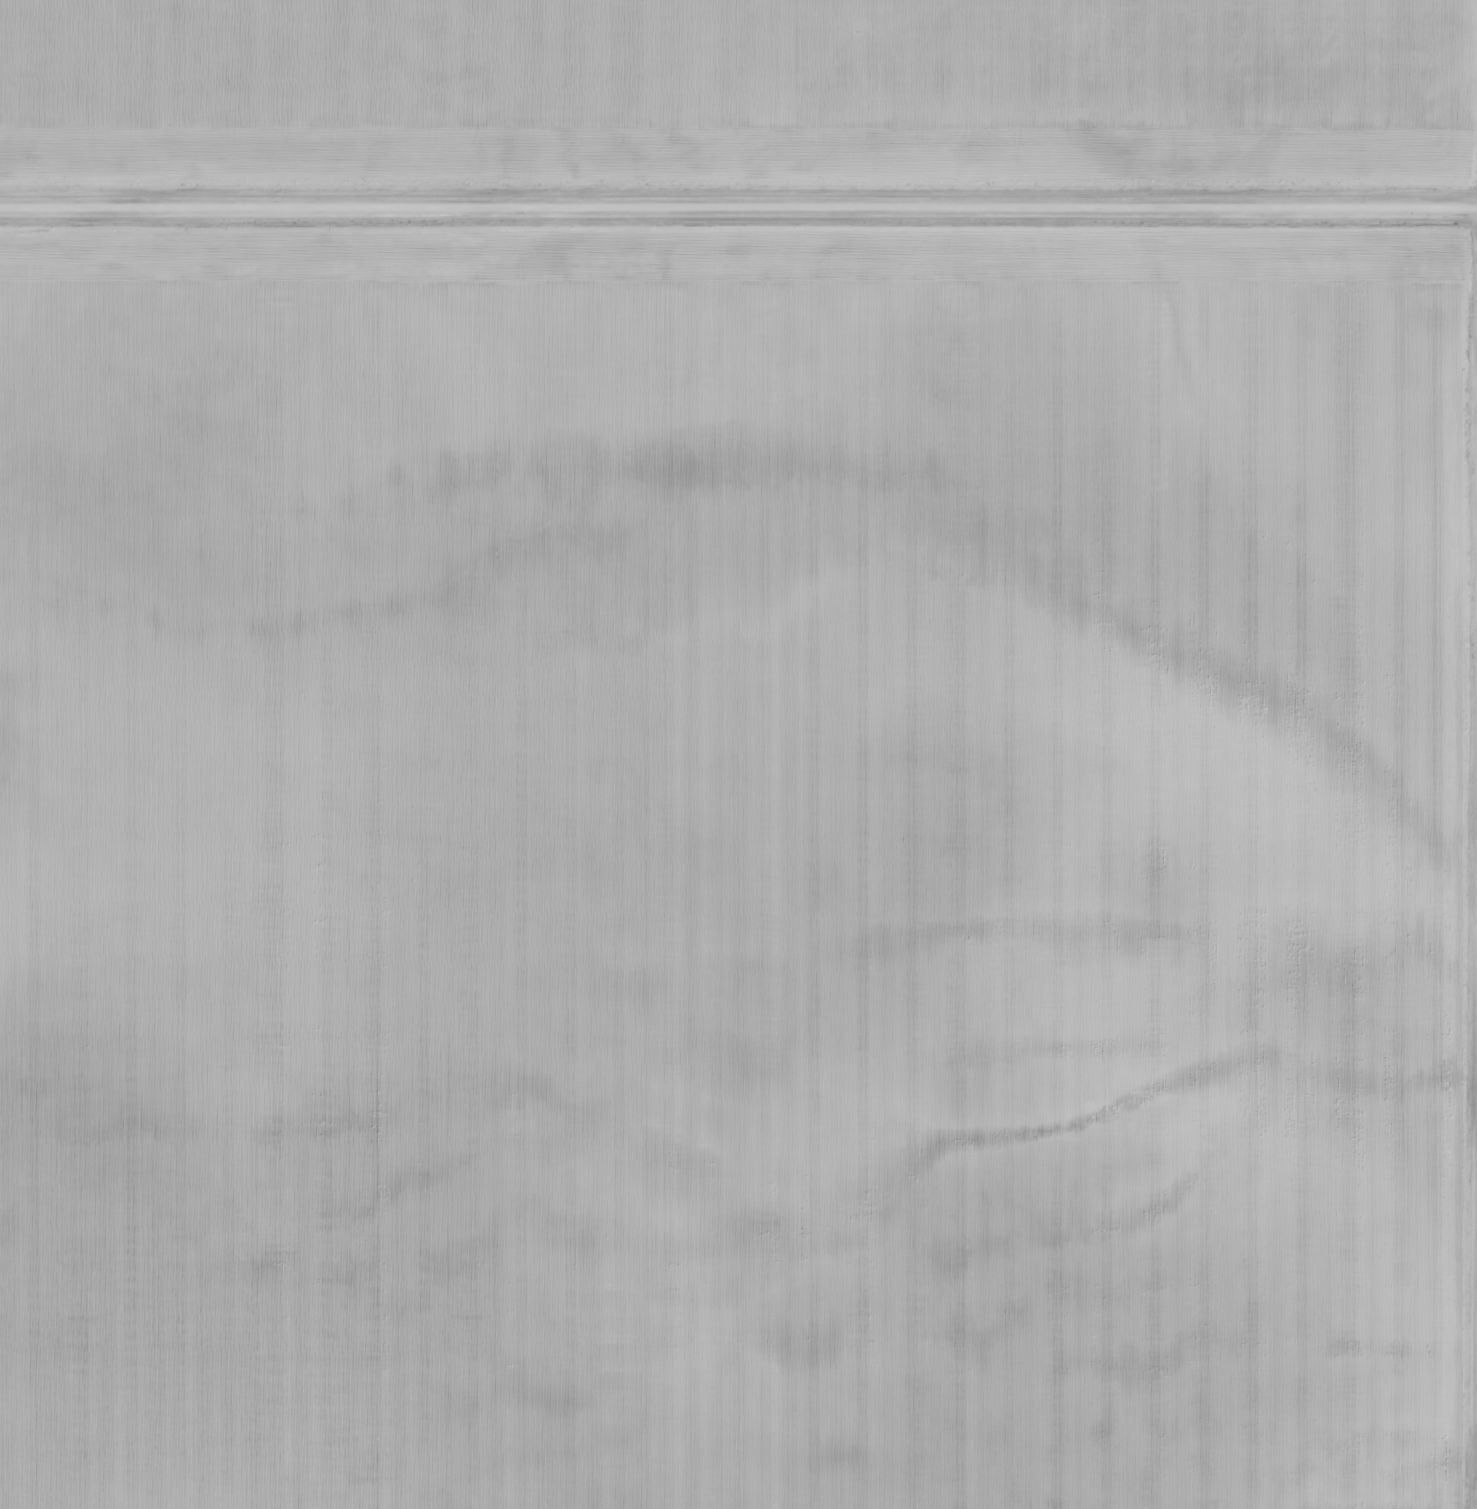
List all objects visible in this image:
road: (738, 195)
road: (1467, 852)

